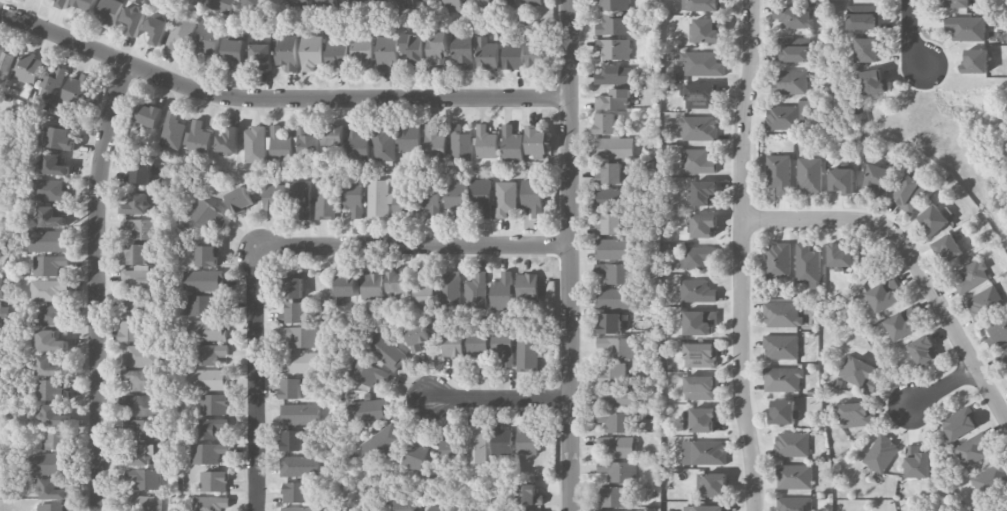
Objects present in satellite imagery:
building: (273, 0)
building: (248, 1)
building: (61, 2)
building: (480, 2)
building: (532, 2)
building: (299, 3)
building: (325, 3)
building: (954, 3)
building: (402, 4)
building: (219, 5)
building: (452, 5)
building: (615, 5)
building: (701, 5)
building: (85, 7)
building: (108, 12)
building: (793, 17)
building: (862, 17)
building: (133, 18)
building: (614, 25)
building: (156, 28)
building: (966, 28)
building: (704, 31)
road: (910, 33)
building: (179, 34)
building: (208, 39)
building: (412, 47)
building: (614, 48)
building: (795, 50)
building: (867, 50)
building: (362, 51)
building: (463, 51)
building: (286, 52)
building: (310, 52)
building: (386, 52)
building: (437, 52)
building: (234, 53)
building: (337, 53)
building: (487, 54)
building: (537, 54)
building: (261, 56)
building: (513, 57)
building: (976, 61)
building: (6, 62)
building: (702, 64)
building: (30, 67)
building: (614, 75)
building: (872, 81)
building: (789, 82)
building: (51, 84)
building: (77, 90)
building: (699, 95)
road: (277, 98)
building: (613, 100)
building: (149, 115)
building: (787, 116)
building: (605, 123)
building: (698, 128)
building: (172, 131)
building: (332, 135)
building: (60, 138)
building: (409, 138)
building: (197, 139)
building: (228, 141)
building: (305, 141)
building: (536, 141)
building: (460, 143)
building: (486, 143)
building: (357, 144)
building: (254, 145)
building: (278, 145)
building: (382, 145)
building: (512, 145)
building: (614, 147)
building: (697, 161)
building: (54, 165)
building: (138, 173)
building: (778, 173)
building: (612, 174)
building: (809, 175)
building: (878, 179)
building: (842, 180)
building: (49, 190)
building: (704, 193)
building: (909, 193)
building: (274, 197)
building: (352, 197)
building: (532, 197)
building: (480, 198)
building: (505, 198)
building: (611, 198)
building: (239, 199)
building: (301, 199)
building: (325, 199)
building: (454, 199)
building: (384, 200)
building: (430, 202)
building: (207, 215)
building: (49, 217)
building: (932, 220)
building: (610, 225)
building: (704, 225)
building: (144, 229)
building: (49, 241)
road: (413, 247)
building: (614, 249)
building: (947, 249)
road: (571, 255)
road: (742, 255)
building: (839, 255)
building: (207, 256)
building: (696, 257)
road: (912, 257)
building: (777, 260)
building: (49, 265)
building: (807, 266)
building: (139, 269)
building: (616, 273)
building: (972, 276)
building: (204, 281)
building: (398, 282)
building: (1, 284)
road: (97, 285)
building: (372, 286)
building: (527, 286)
building: (346, 287)
building: (294, 288)
building: (451, 288)
building: (48, 290)
building: (476, 291)
building: (697, 291)
building: (502, 292)
building: (423, 293)
building: (883, 295)
building: (616, 298)
building: (984, 303)
building: (141, 304)
building: (202, 305)
building: (295, 313)
building: (51, 314)
building: (4, 315)
building: (782, 315)
building: (699, 322)
building: (610, 323)
building: (901, 324)
building: (207, 330)
building: (132, 331)
building: (997, 332)
building: (298, 336)
building: (417, 337)
building: (50, 341)
building: (0, 343)
building: (453, 346)
building: (504, 346)
building: (618, 346)
building: (781, 346)
building: (478, 349)
building: (923, 350)
building: (527, 351)
building: (387, 352)
building: (1005, 353)
building: (210, 354)
building: (700, 355)
building: (141, 356)
building: (300, 362)
building: (48, 366)
building: (859, 372)
building: (367, 373)
building: (612, 373)
building: (140, 379)
building: (208, 379)
road: (256, 379)
building: (782, 379)
building: (700, 387)
building: (291, 388)
building: (52, 389)
road: (945, 389)
building: (616, 398)
road: (500, 399)
building: (213, 404)
building: (139, 405)
building: (367, 410)
building: (782, 412)
building: (300, 414)
building: (53, 415)
building: (854, 415)
building: (699, 419)
building: (616, 421)
building: (958, 424)
building: (209, 428)
building: (143, 429)
building: (55, 439)
building: (527, 439)
building: (292, 440)
building: (501, 441)
building: (382, 442)
building: (476, 444)
building: (792, 444)
building: (616, 446)
building: (449, 448)
building: (973, 450)
building: (703, 452)
building: (206, 453)
building: (881, 453)
building: (143, 454)
building: (415, 455)
building: (917, 463)
building: (48, 464)
building: (300, 466)
building: (618, 471)
building: (793, 477)
building: (143, 478)
building: (990, 479)
building: (213, 481)
building: (712, 485)
building: (51, 489)
building: (296, 492)
building: (529, 495)
building: (612, 496)
building: (144, 503)
building: (211, 503)
building: (403, 504)
building: (794, 504)
building: (52, 507)
building: (437, 508)
building: (705, 508)
building: (1004, 508)
building: (301, 509)
building: (361, 510)
building: (522, 510)
building: (628, 510)

